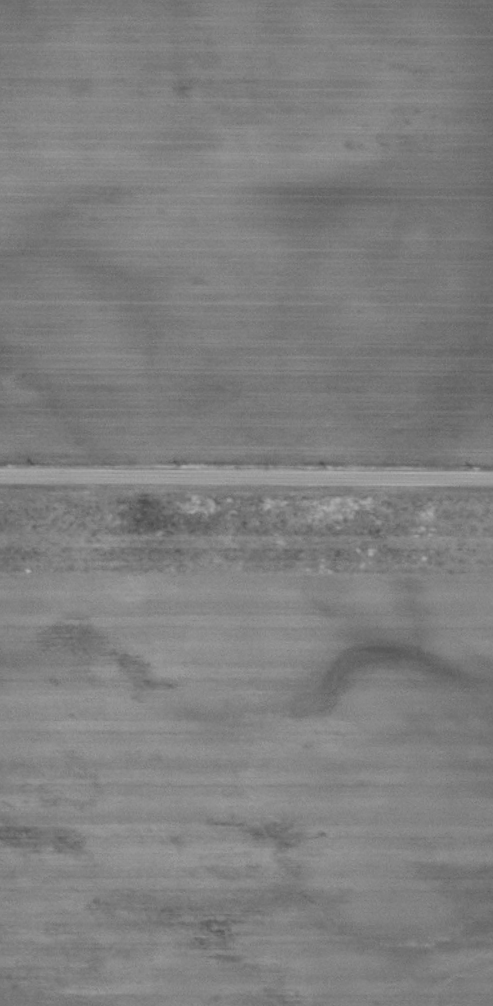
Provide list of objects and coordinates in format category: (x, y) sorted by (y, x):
road: (246, 477)

